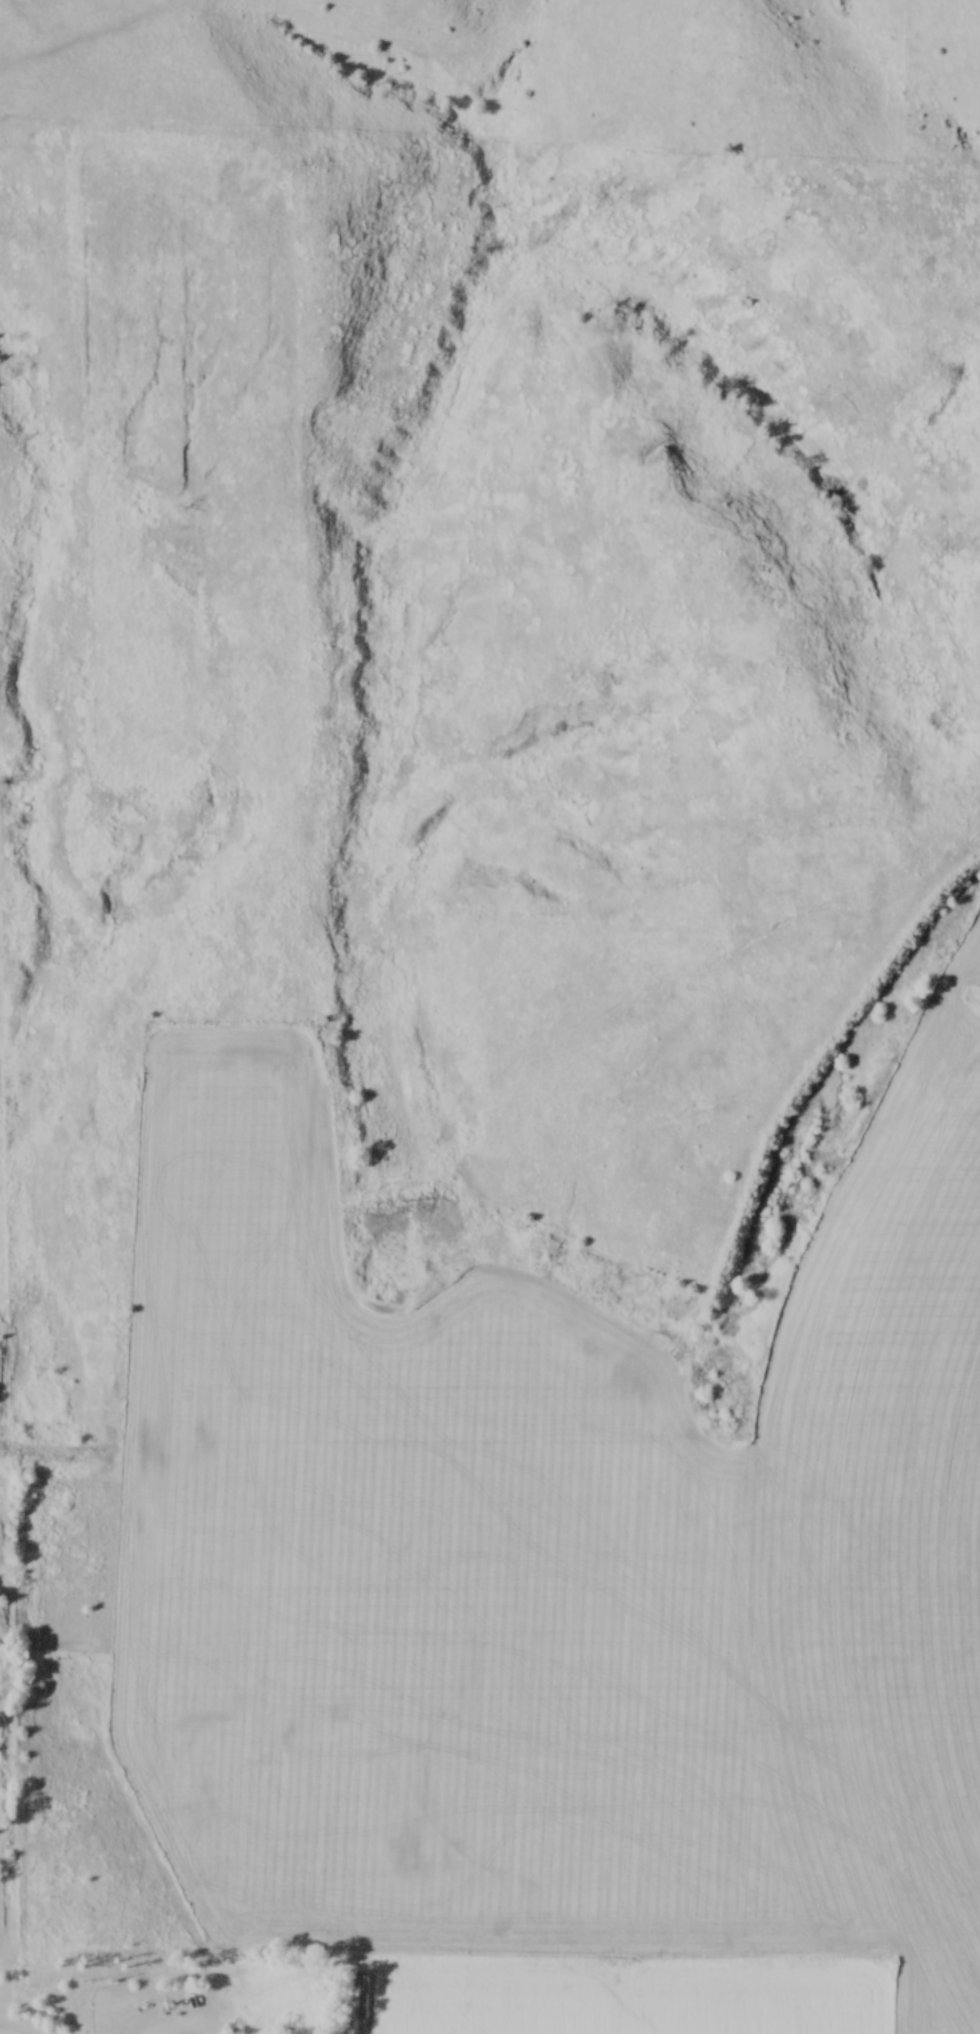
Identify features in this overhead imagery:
building: (28, 1815)
road: (15, 2031)

